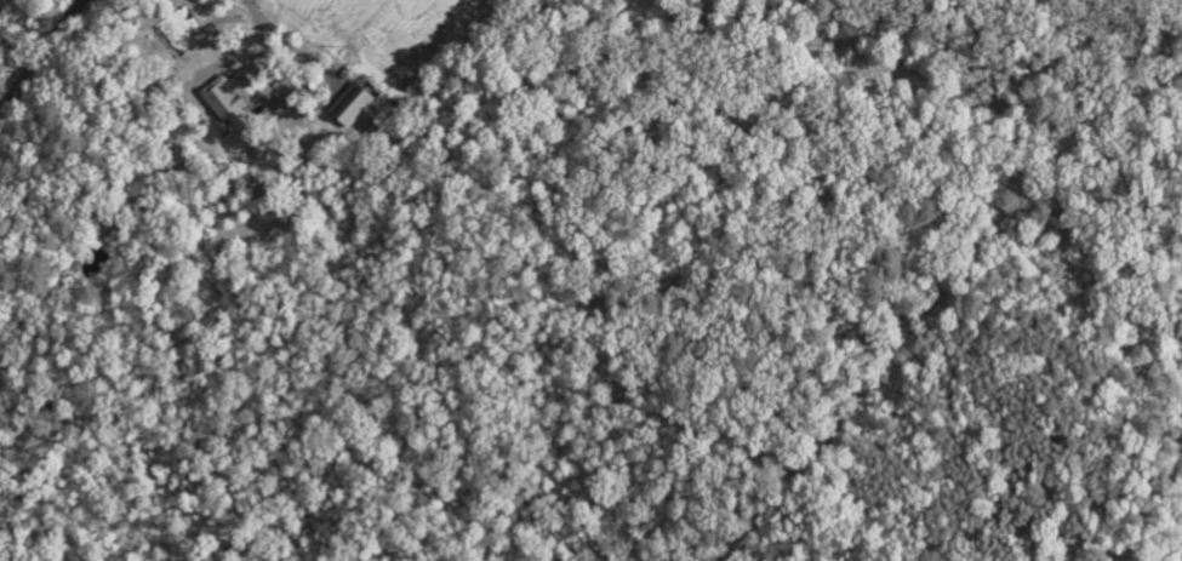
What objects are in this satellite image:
road: (41, 56)
building: (234, 102)
building: (358, 103)

